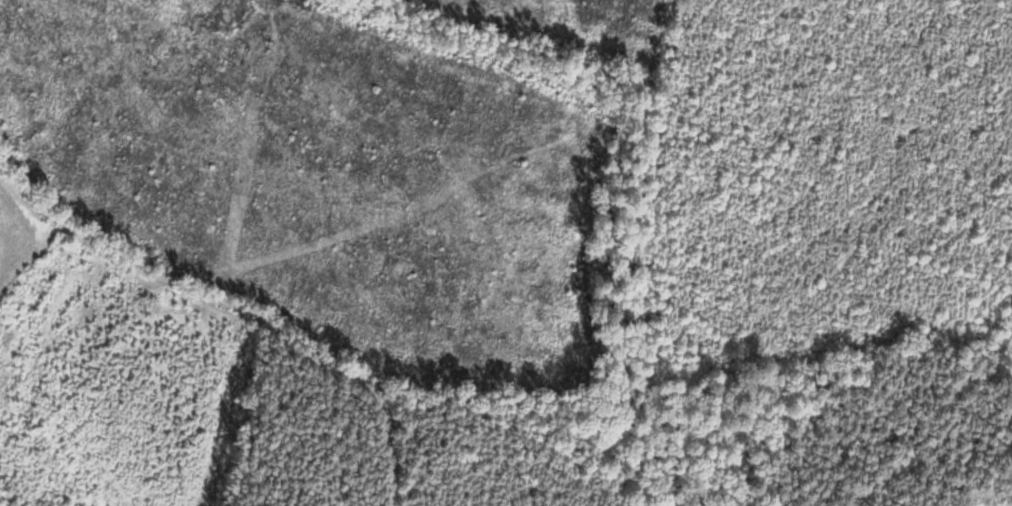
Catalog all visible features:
road: (233, 319)

